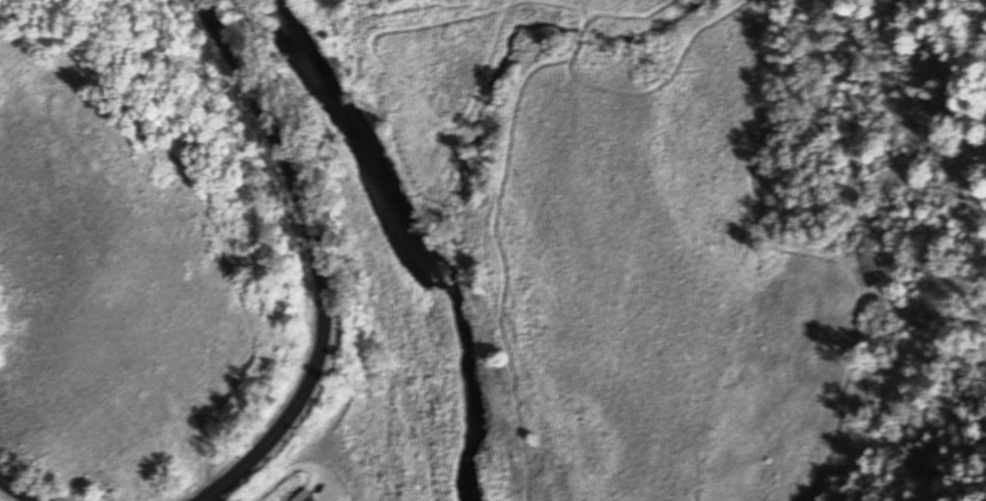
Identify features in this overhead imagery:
river: (409, 238)
road: (316, 256)
road: (17, 490)
building: (300, 496)

